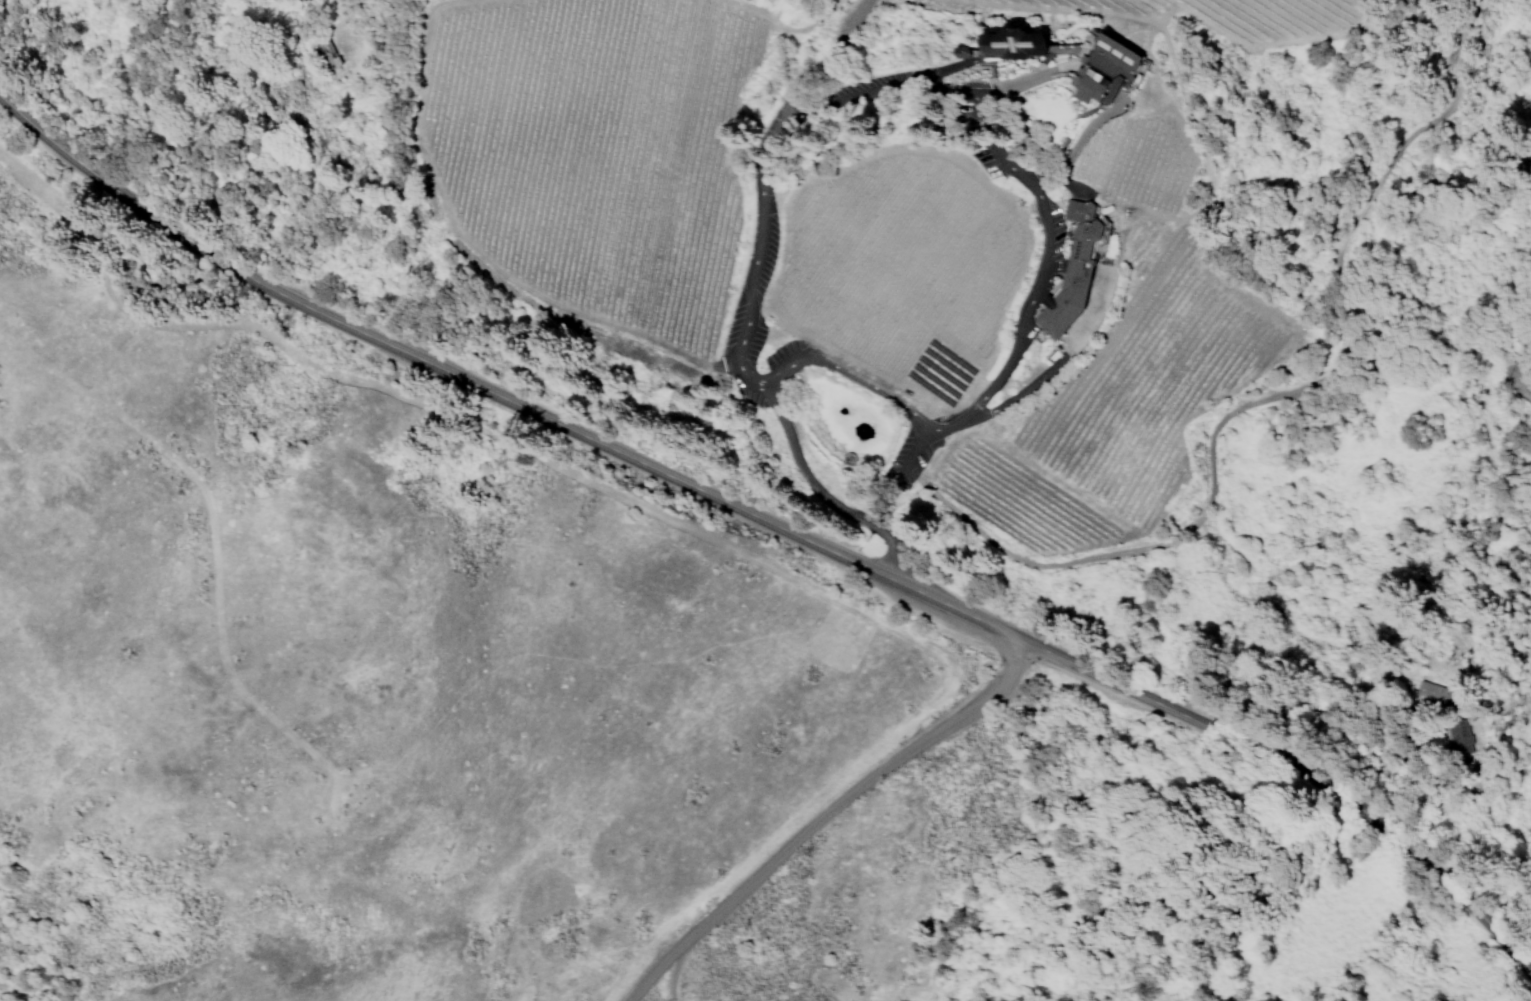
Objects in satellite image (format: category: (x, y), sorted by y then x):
building: (1012, 46)
road: (828, 53)
road: (1075, 53)
road: (1036, 72)
building: (1103, 74)
road: (1031, 78)
road: (997, 139)
building: (1070, 273)
road: (1243, 407)
road: (823, 491)
road: (773, 523)
building: (1435, 693)
building: (1463, 735)
road: (854, 789)
road: (652, 971)
road: (670, 971)

